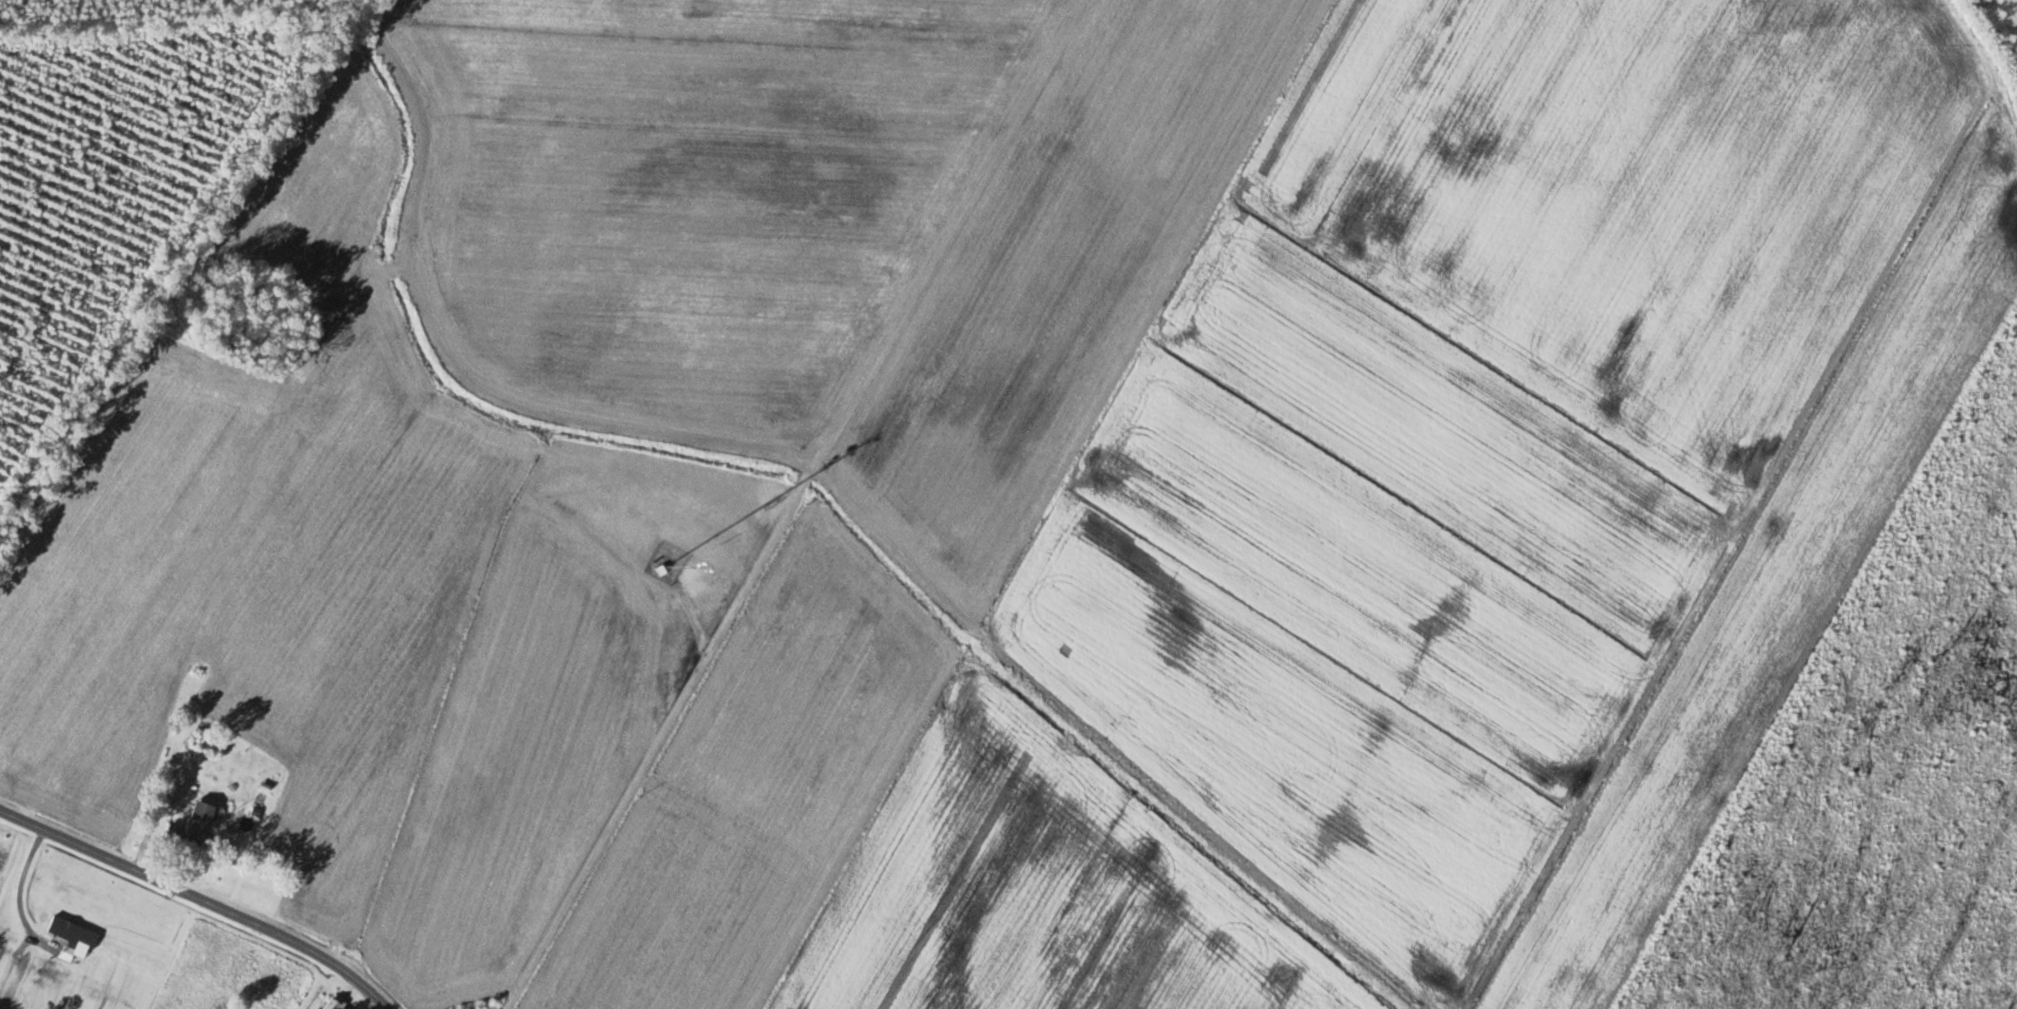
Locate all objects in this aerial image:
building: (190, 827)
road: (606, 832)
road: (202, 899)
building: (70, 932)
building: (336, 1004)

